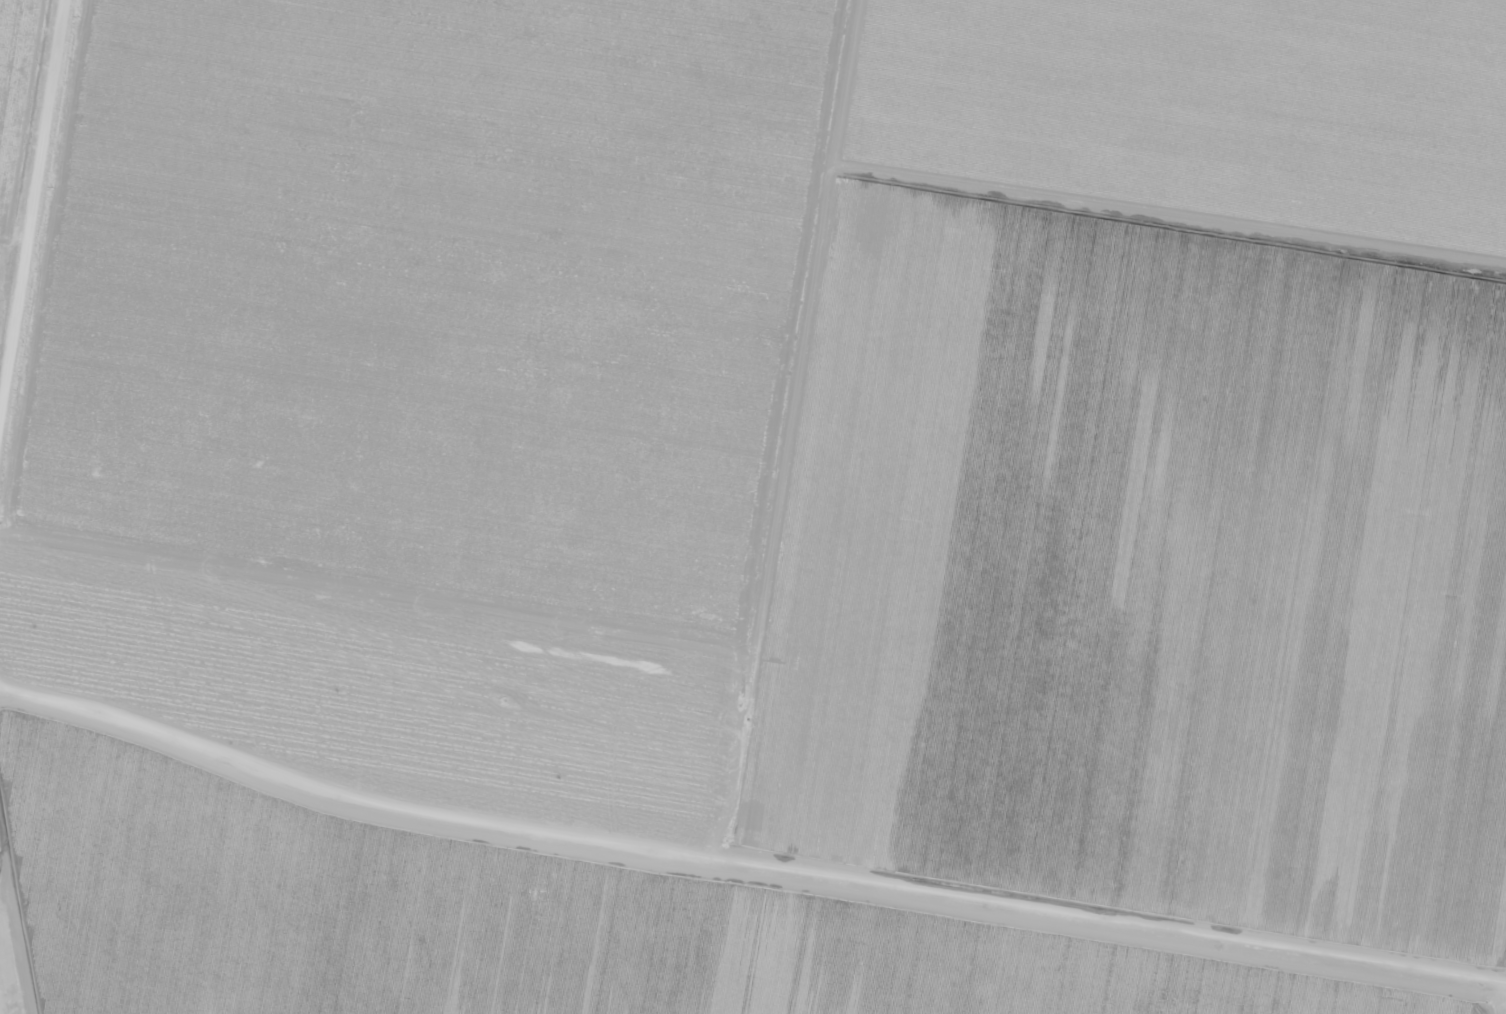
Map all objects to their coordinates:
road: (34, 226)
road: (741, 875)
road: (11, 969)

